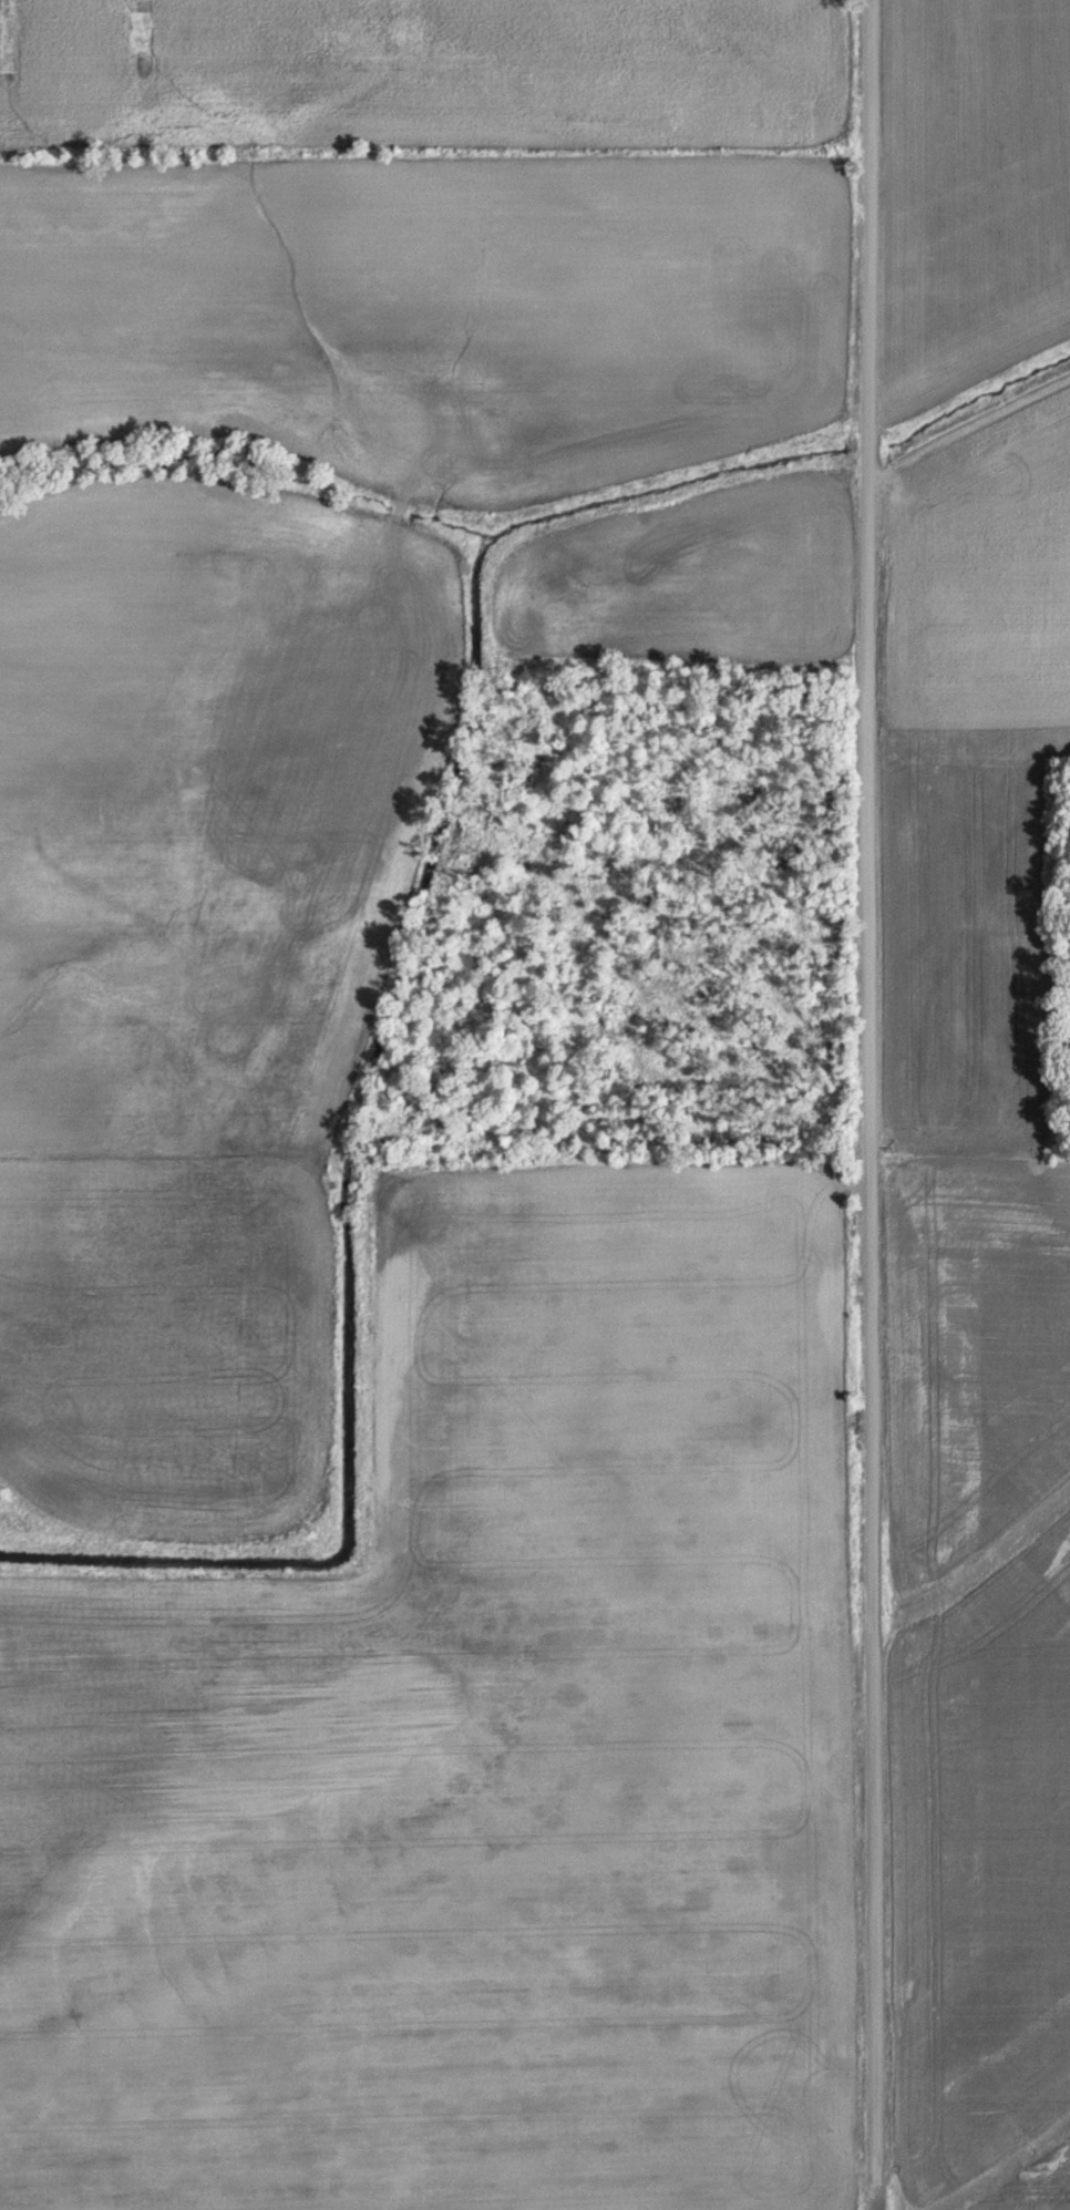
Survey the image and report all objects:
crop: (418, 74)
crop: (418, 306)
crop: (215, 824)
road: (868, 1104)
crop: (166, 1366)
crop: (471, 1760)
crop: (1039, 2186)

